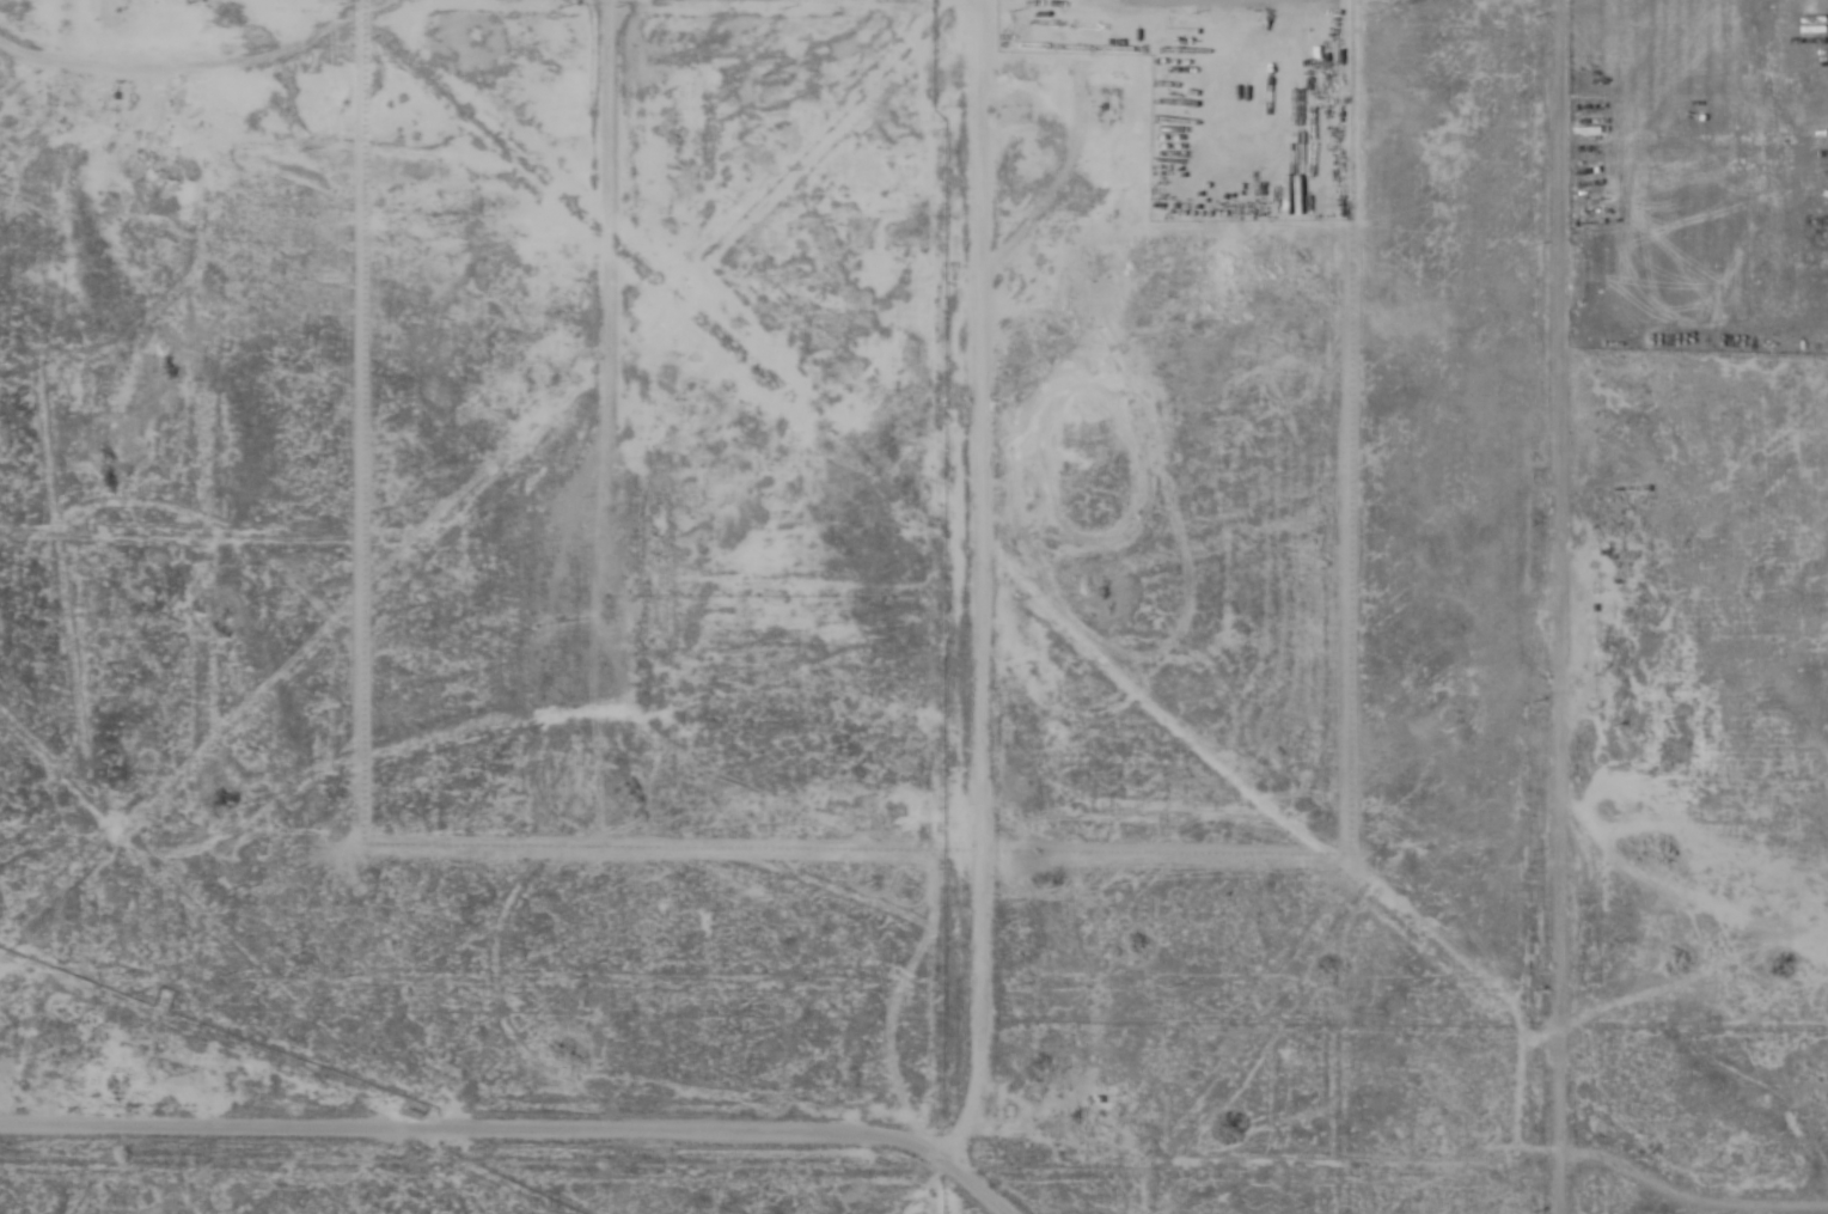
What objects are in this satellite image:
road: (974, 584)
road: (1565, 606)
road: (518, 1141)

